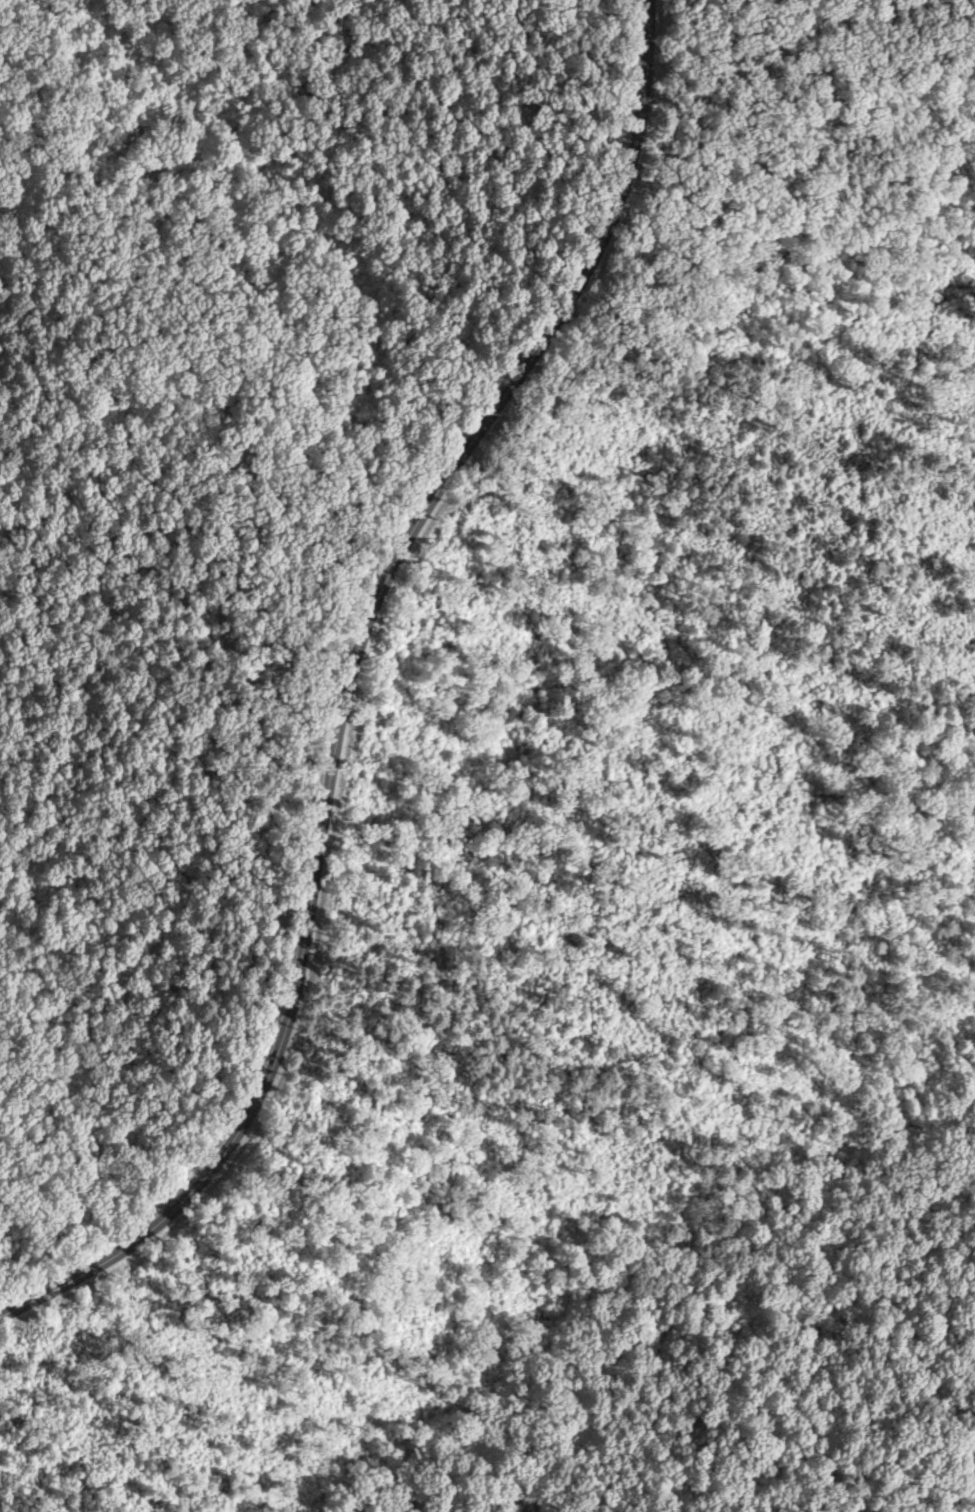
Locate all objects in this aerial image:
road: (793, 46)
road: (351, 684)
road: (923, 1484)

